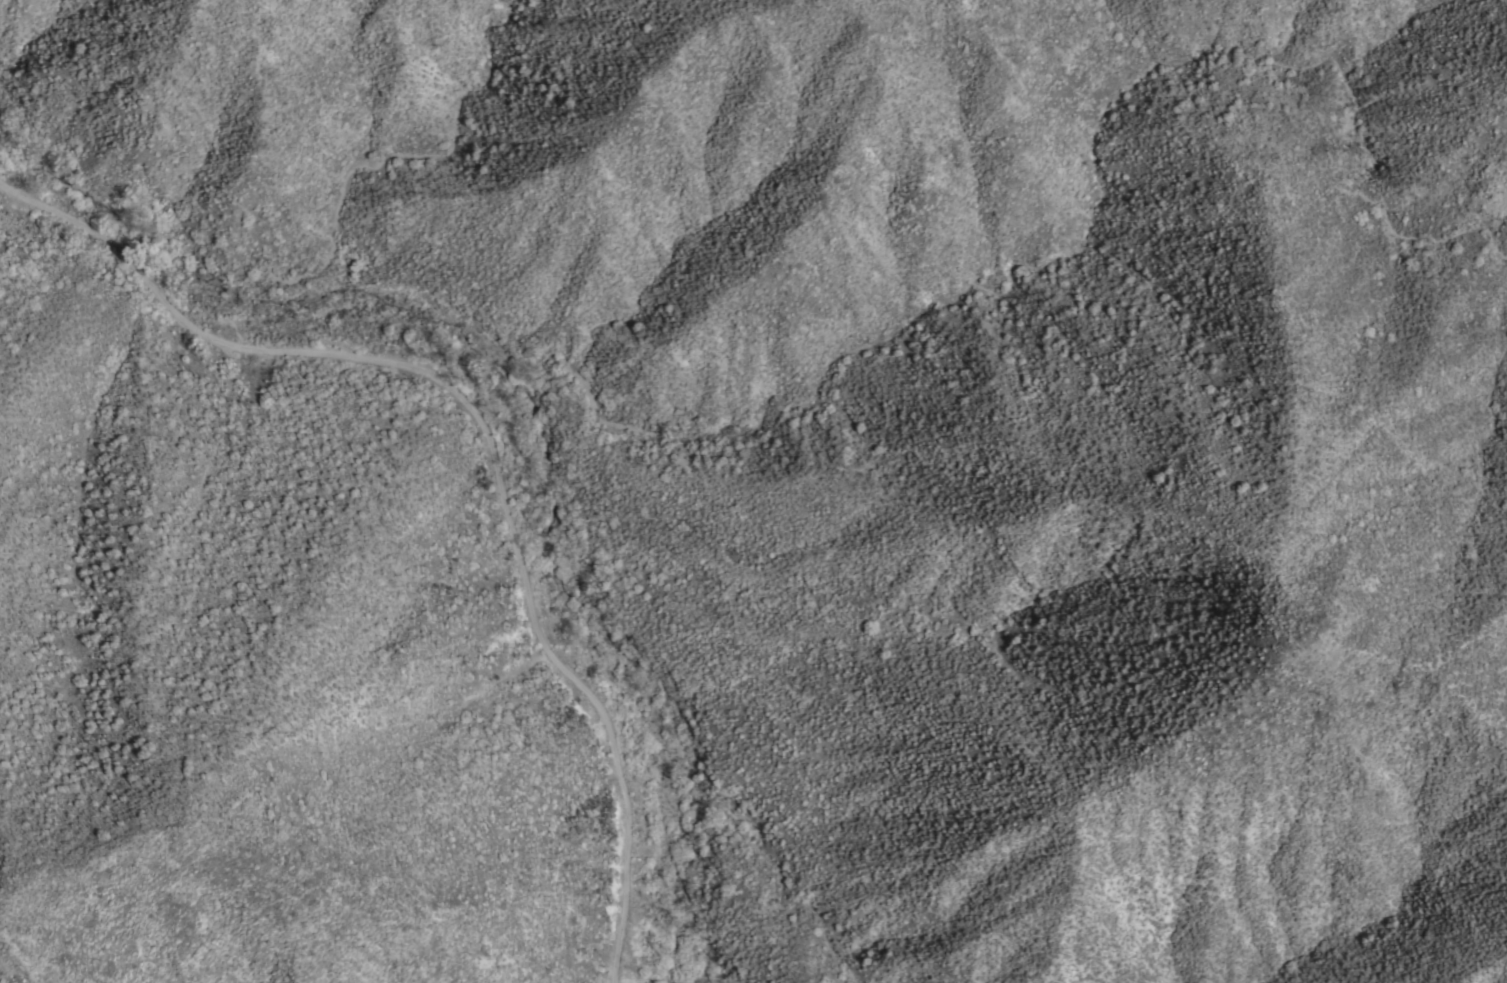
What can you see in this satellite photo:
road: (494, 436)

